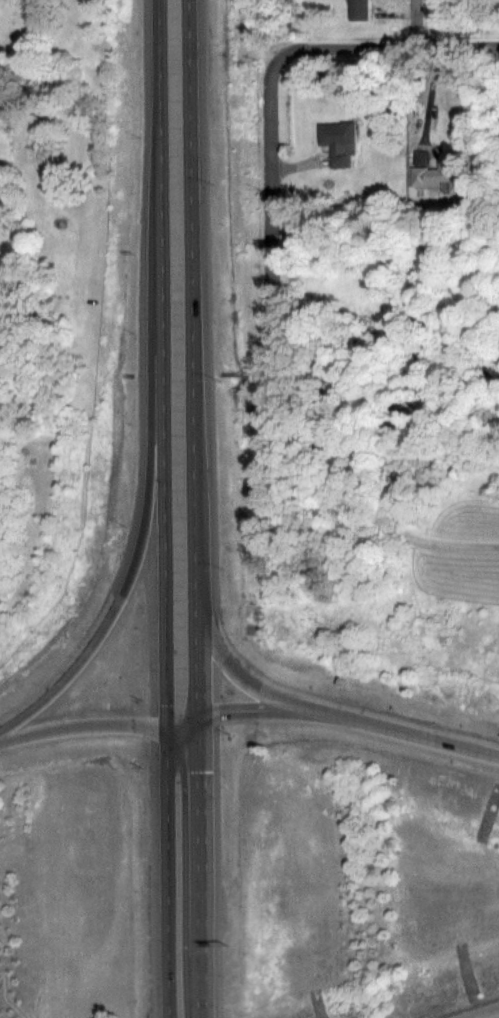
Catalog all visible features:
building: (361, 9)
road: (414, 23)
road: (426, 97)
road: (270, 126)
building: (340, 141)
building: (445, 175)
road: (164, 509)
road: (194, 509)
road: (364, 514)
road: (131, 565)
road: (245, 679)
traffic signals: (196, 719)
road: (169, 731)
traffic signals: (168, 732)
road: (418, 733)

